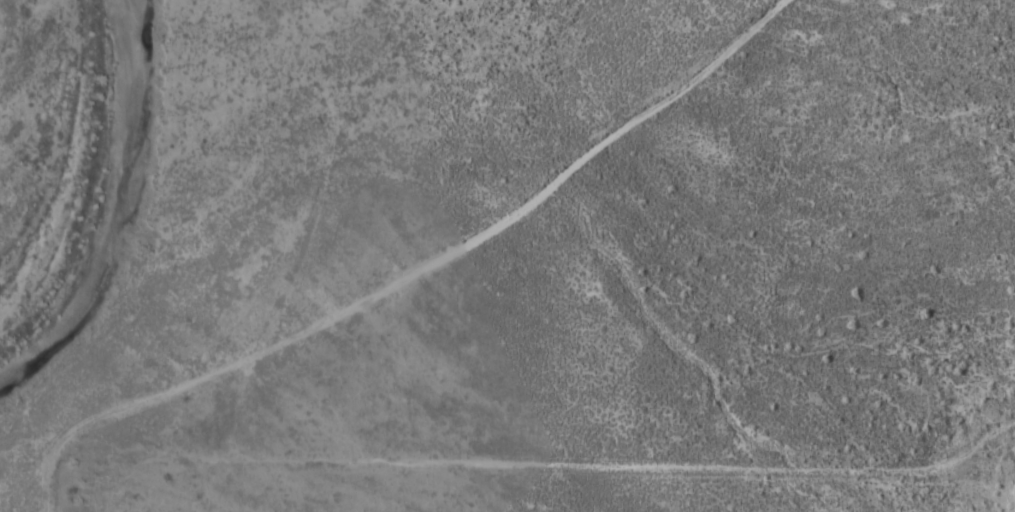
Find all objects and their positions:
river: (95, 207)

